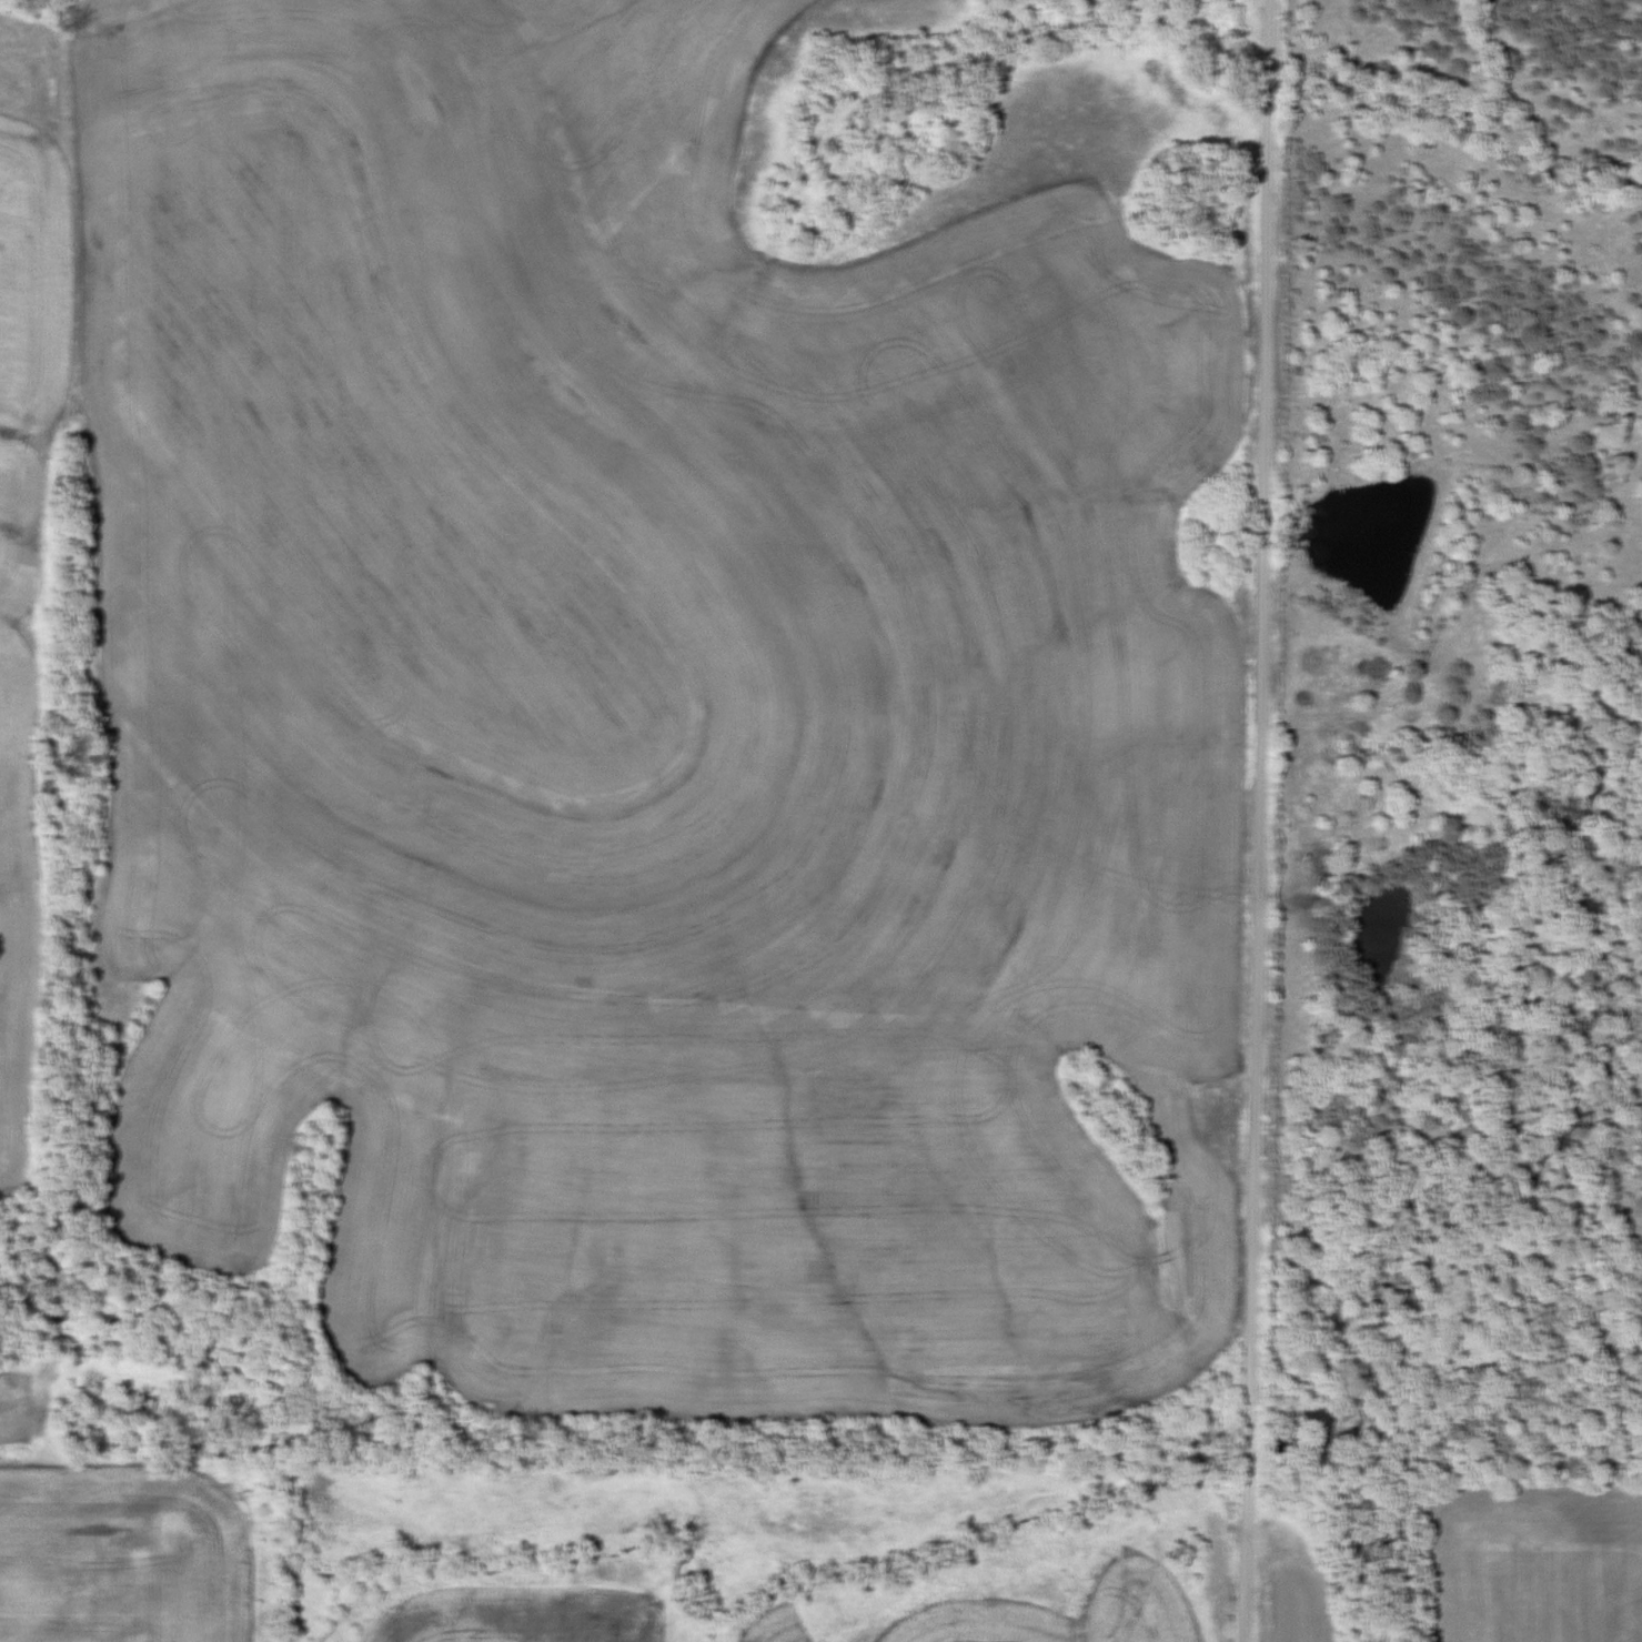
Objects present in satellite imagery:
road: (1266, 820)

